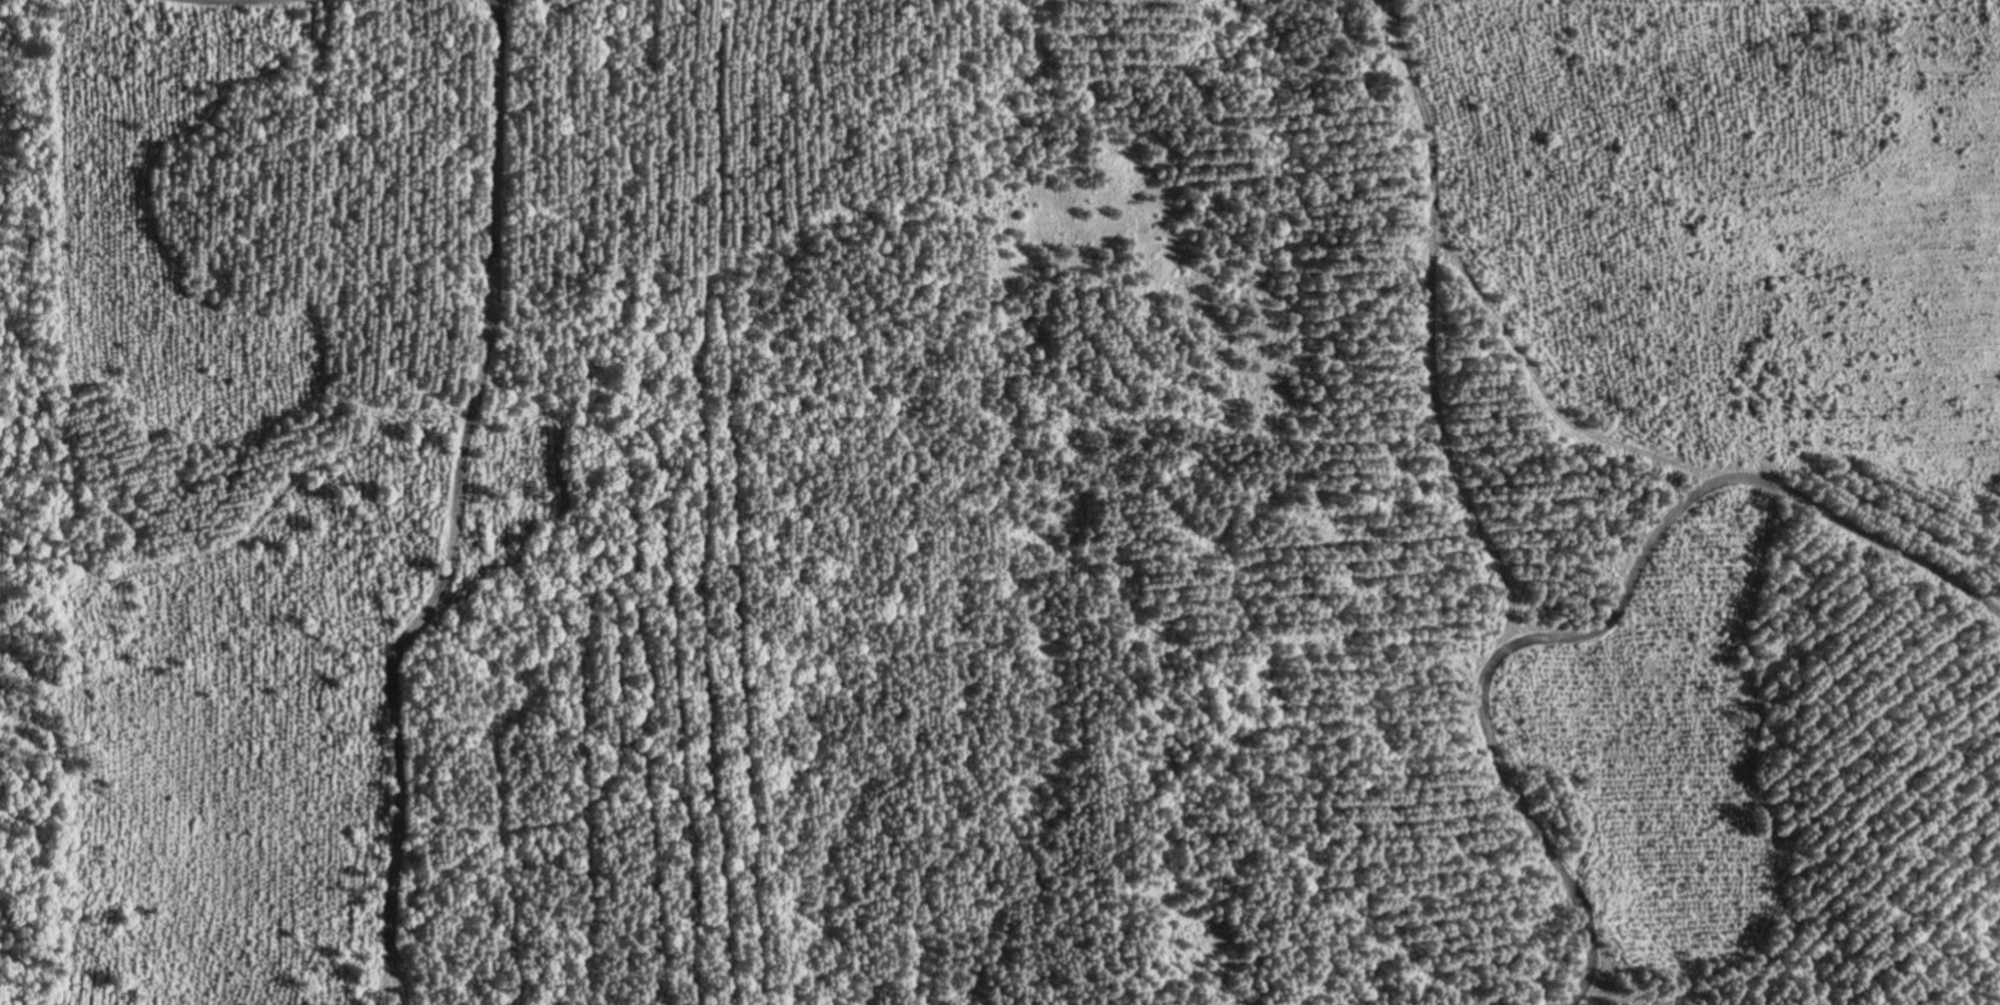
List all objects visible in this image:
road: (1673, 450)
road: (464, 507)
road: (1490, 519)
road: (1638, 579)

